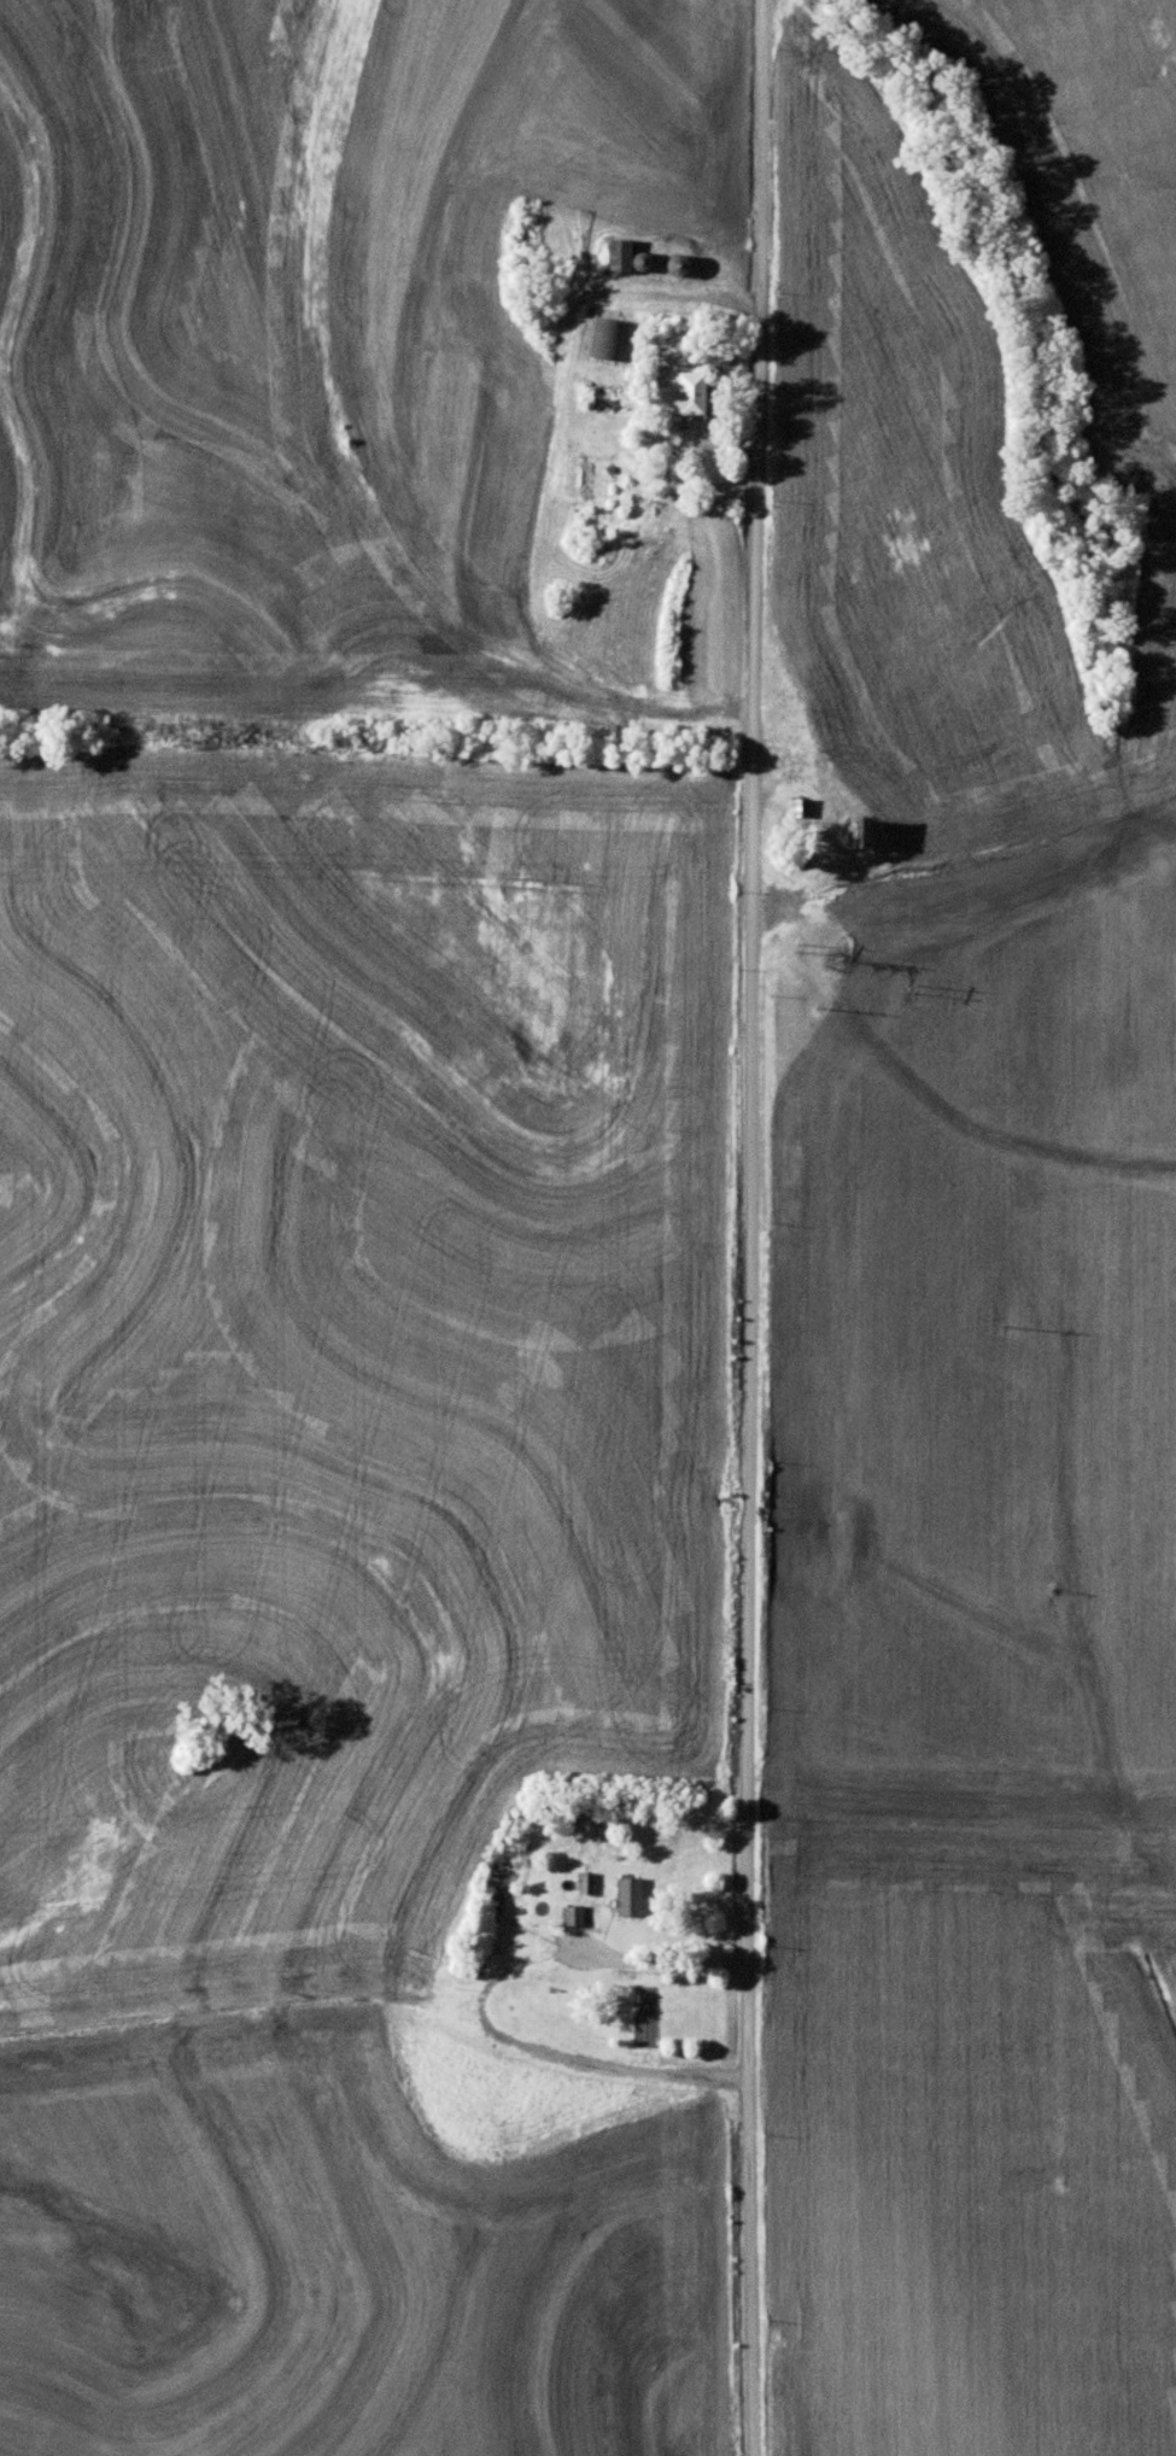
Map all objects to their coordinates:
building: (616, 247)
building: (672, 263)
building: (608, 338)
building: (681, 394)
building: (797, 803)
building: (859, 828)
road: (826, 844)
road: (753, 1227)
building: (625, 1894)
building: (569, 1913)
road: (631, 1960)

